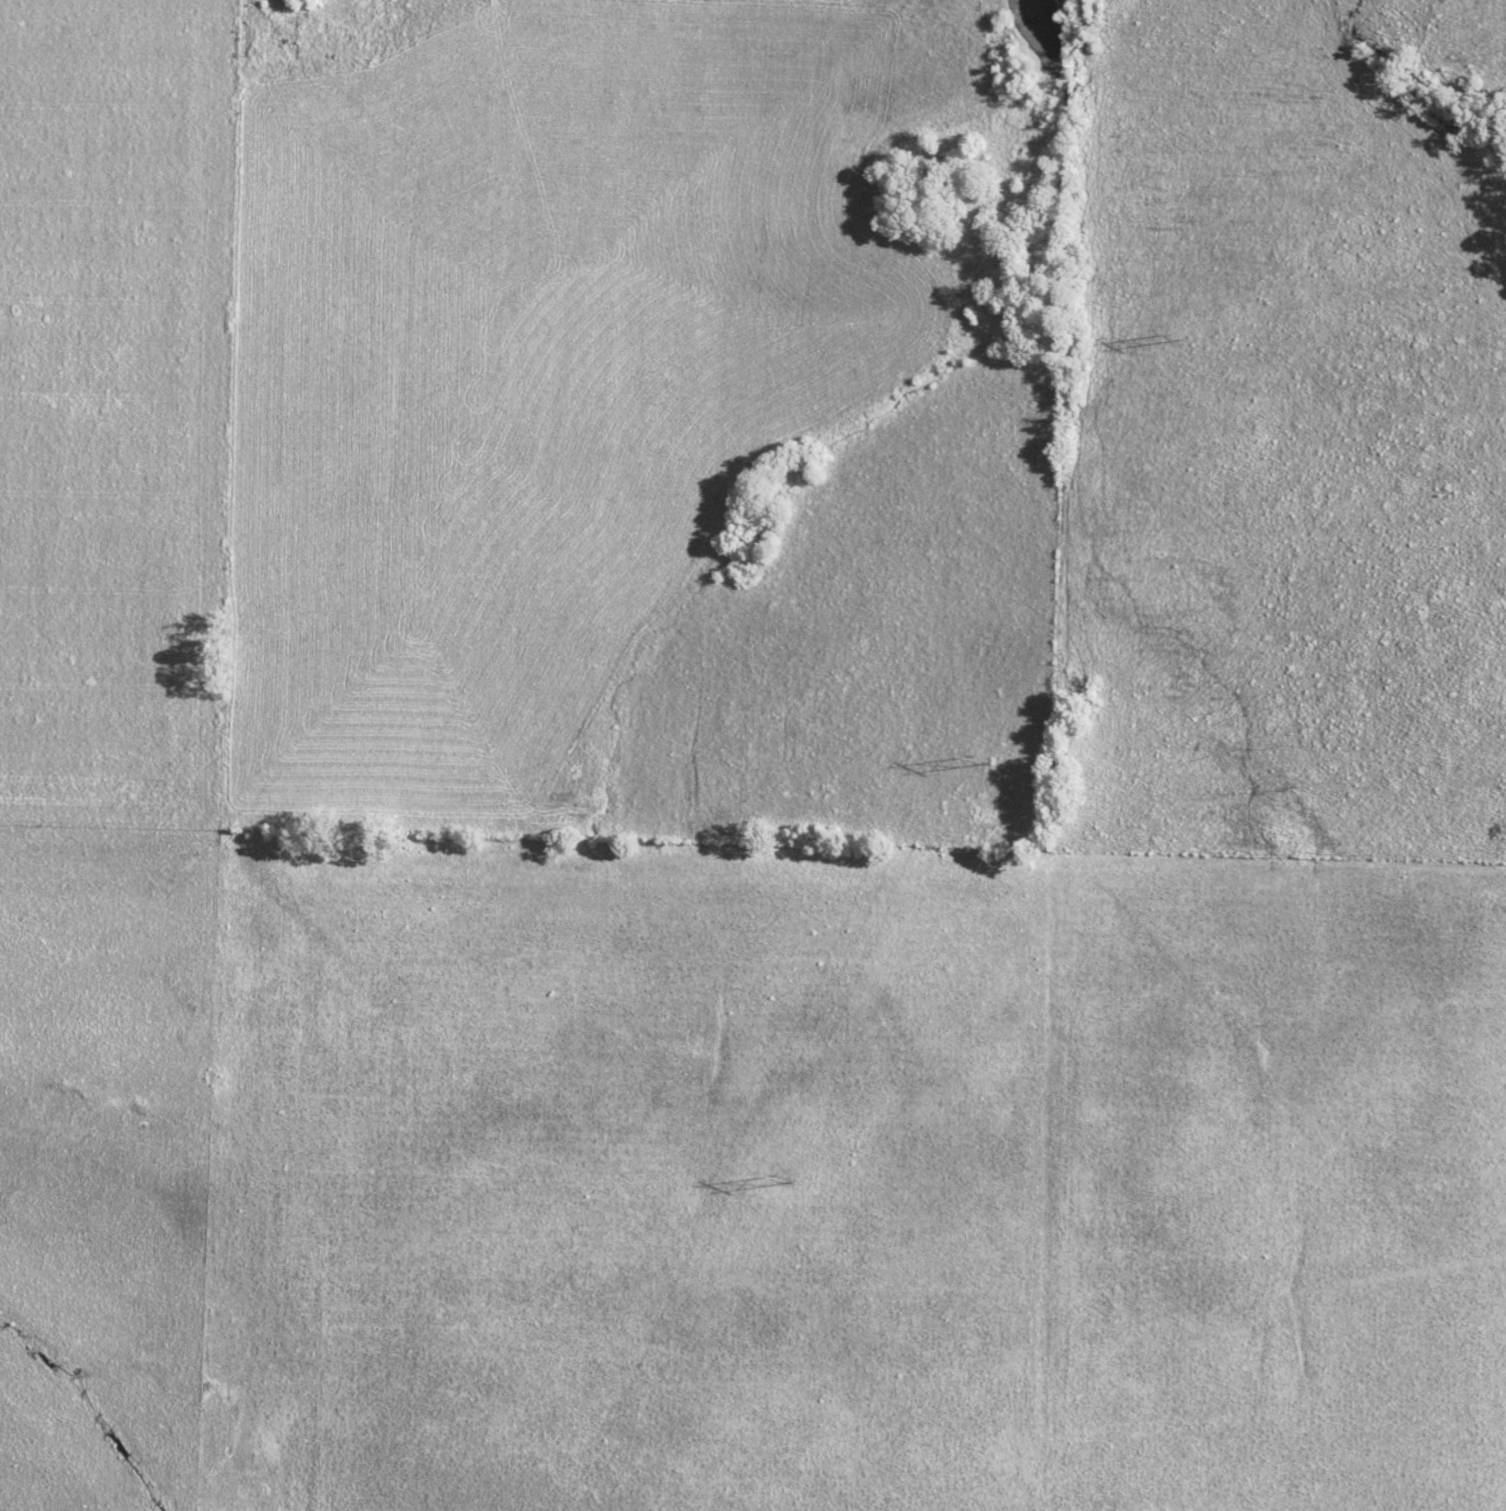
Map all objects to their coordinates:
power tower: (1178, 336)
power tower: (978, 762)
power tower: (784, 1174)

